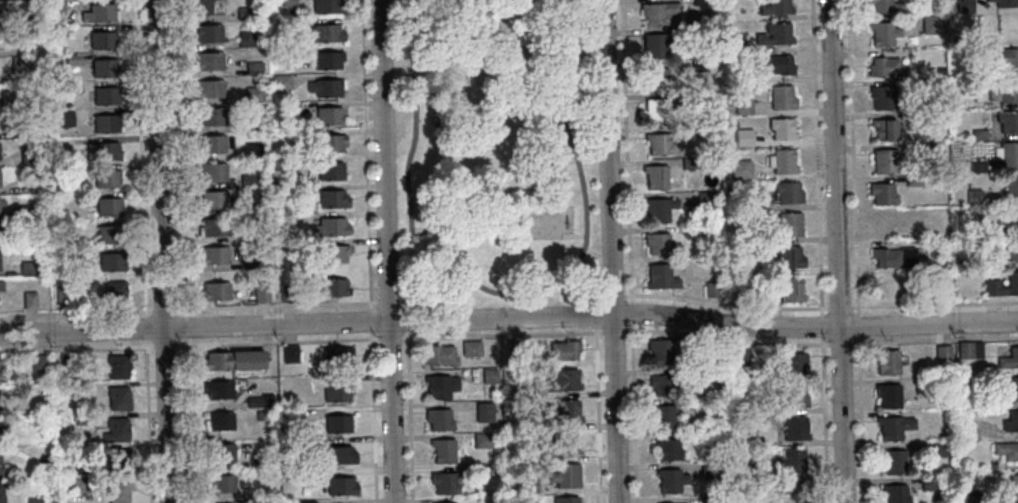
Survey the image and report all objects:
building: (988, 0)
building: (287, 2)
building: (699, 2)
building: (1006, 3)
building: (55, 5)
building: (206, 6)
building: (327, 6)
building: (884, 6)
building: (964, 6)
building: (775, 7)
building: (658, 12)
building: (99, 13)
building: (245, 13)
building: (930, 24)
building: (282, 26)
building: (324, 32)
building: (696, 32)
building: (208, 33)
building: (882, 33)
building: (774, 34)
building: (246, 39)
building: (102, 40)
building: (656, 44)
building: (740, 46)
building: (283, 54)
building: (1005, 57)
building: (72, 59)
building: (328, 59)
building: (208, 60)
building: (778, 64)
building: (698, 65)
building: (104, 67)
building: (253, 67)
building: (887, 67)
building: (19, 69)
building: (939, 71)
building: (656, 78)
building: (282, 82)
building: (72, 87)
building: (326, 87)
building: (209, 88)
building: (1005, 91)
building: (253, 94)
building: (106, 96)
building: (691, 97)
building: (781, 97)
building: (882, 97)
building: (742, 106)
building: (288, 109)
road: (440, 110)
building: (657, 110)
building: (329, 115)
building: (210, 116)
road: (422, 116)
building: (913, 116)
building: (65, 118)
building: (1008, 121)
building: (249, 122)
building: (106, 123)
building: (781, 128)
building: (883, 128)
building: (692, 130)
building: (17, 132)
building: (978, 134)
building: (211, 142)
building: (330, 142)
building: (658, 143)
building: (252, 149)
park: (496, 149)
building: (0, 151)
building: (101, 151)
building: (1006, 153)
building: (28, 157)
road: (559, 158)
building: (886, 160)
road: (570, 161)
building: (783, 161)
building: (689, 163)
building: (977, 167)
building: (77, 169)
building: (740, 169)
building: (330, 171)
building: (211, 172)
building: (655, 176)
building: (0, 178)
building: (106, 178)
building: (248, 179)
building: (913, 180)
building: (1010, 185)
building: (302, 190)
building: (787, 192)
building: (882, 193)
building: (973, 196)
building: (332, 198)
building: (704, 199)
building: (212, 200)
building: (2, 202)
building: (752, 202)
building: (108, 207)
building: (251, 208)
building: (657, 209)
building: (26, 212)
building: (1012, 217)
building: (789, 224)
building: (885, 224)
building: (212, 227)
building: (330, 227)
road: (417, 229)
building: (694, 230)
building: (109, 235)
road: (573, 237)
building: (35, 239)
building: (660, 244)
building: (1010, 249)
road: (143, 251)
road: (161, 251)
road: (180, 251)
road: (369, 251)
road: (386, 251)
road: (609, 251)
road: (629, 251)
road: (820, 251)
road: (836, 251)
road: (855, 251)
building: (333, 253)
building: (213, 255)
building: (789, 257)
building: (894, 257)
building: (980, 260)
building: (0, 261)
building: (110, 261)
building: (248, 262)
building: (946, 264)
building: (26, 268)
building: (660, 277)
road: (586, 283)
road: (427, 284)
building: (1, 285)
building: (1002, 285)
building: (334, 287)
building: (711, 289)
building: (790, 289)
building: (215, 291)
building: (115, 292)
building: (287, 293)
building: (260, 294)
road: (505, 294)
building: (762, 294)
building: (61, 296)
building: (29, 301)
road: (203, 310)
road: (806, 310)
road: (509, 318)
road: (509, 337)
building: (511, 347)
building: (660, 347)
building: (471, 349)
building: (964, 349)
building: (976, 349)
building: (564, 350)
building: (942, 352)
building: (290, 353)
building: (439, 355)
building: (336, 356)
building: (739, 357)
building: (1009, 359)
building: (233, 360)
building: (509, 360)
building: (888, 362)
building: (38, 363)
building: (792, 364)
building: (117, 367)
building: (66, 372)
building: (712, 375)
building: (1, 376)
building: (489, 376)
building: (561, 380)
building: (661, 384)
building: (922, 384)
building: (440, 386)
building: (217, 389)
building: (1011, 390)
building: (518, 392)
building: (337, 393)
building: (794, 395)
building: (888, 395)
building: (118, 398)
road: (598, 400)
building: (259, 401)
road: (409, 402)
building: (1006, 403)
building: (706, 404)
building: (759, 408)
building: (484, 412)
building: (562, 412)
building: (258, 415)
building: (290, 416)
building: (663, 416)
building: (81, 419)
building: (439, 419)
building: (219, 421)
building: (1011, 421)
building: (3, 423)
building: (338, 423)
building: (510, 424)
building: (893, 426)
building: (794, 428)
building: (115, 430)
building: (482, 440)
building: (748, 441)
building: (301, 443)
building: (564, 443)
building: (668, 449)
building: (937, 449)
building: (443, 450)
building: (1006, 450)
building: (219, 453)
building: (3, 454)
building: (339, 455)
building: (118, 460)
building: (790, 460)
building: (1, 461)
building: (893, 461)
building: (257, 464)
building: (751, 466)
building: (709, 470)
building: (482, 471)
building: (312, 473)
building: (565, 475)
building: (670, 480)
building: (444, 482)
building: (928, 483)
building: (220, 484)
building: (80, 485)
building: (341, 486)
building: (528, 486)
building: (1013, 486)
building: (118, 491)
building: (792, 492)
building: (895, 493)
building: (1, 494)
building: (970, 497)
building: (748, 499)
building: (34, 500)
building: (565, 500)
building: (709, 500)
building: (306, 502)
building: (448, 502)

